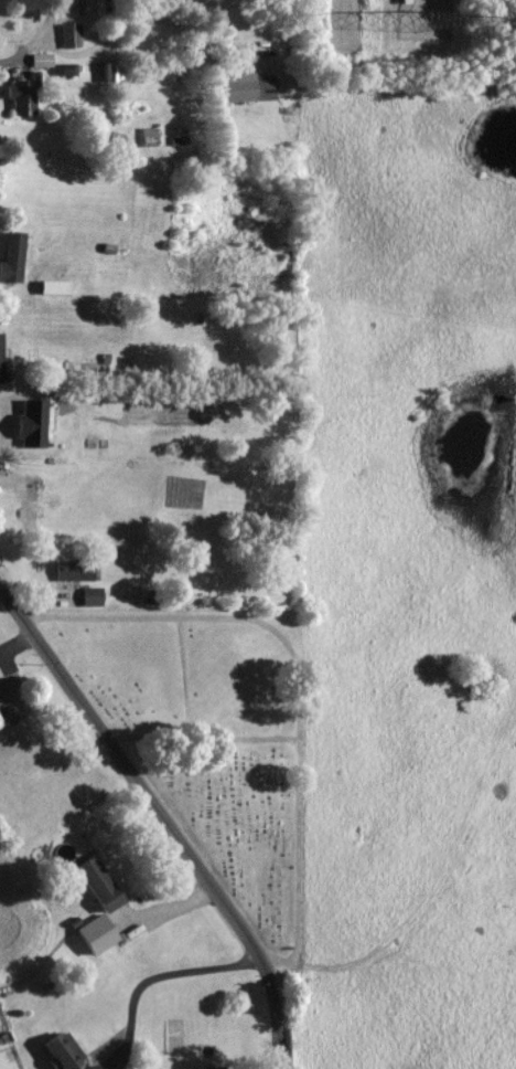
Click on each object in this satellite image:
building: (72, 35)
building: (42, 61)
building: (66, 71)
building: (111, 73)
building: (247, 88)
building: (23, 97)
building: (12, 257)
building: (1, 359)
building: (31, 424)
building: (30, 507)
building: (75, 571)
building: (93, 596)
road: (160, 807)
building: (99, 883)
building: (98, 934)
building: (64, 1050)

